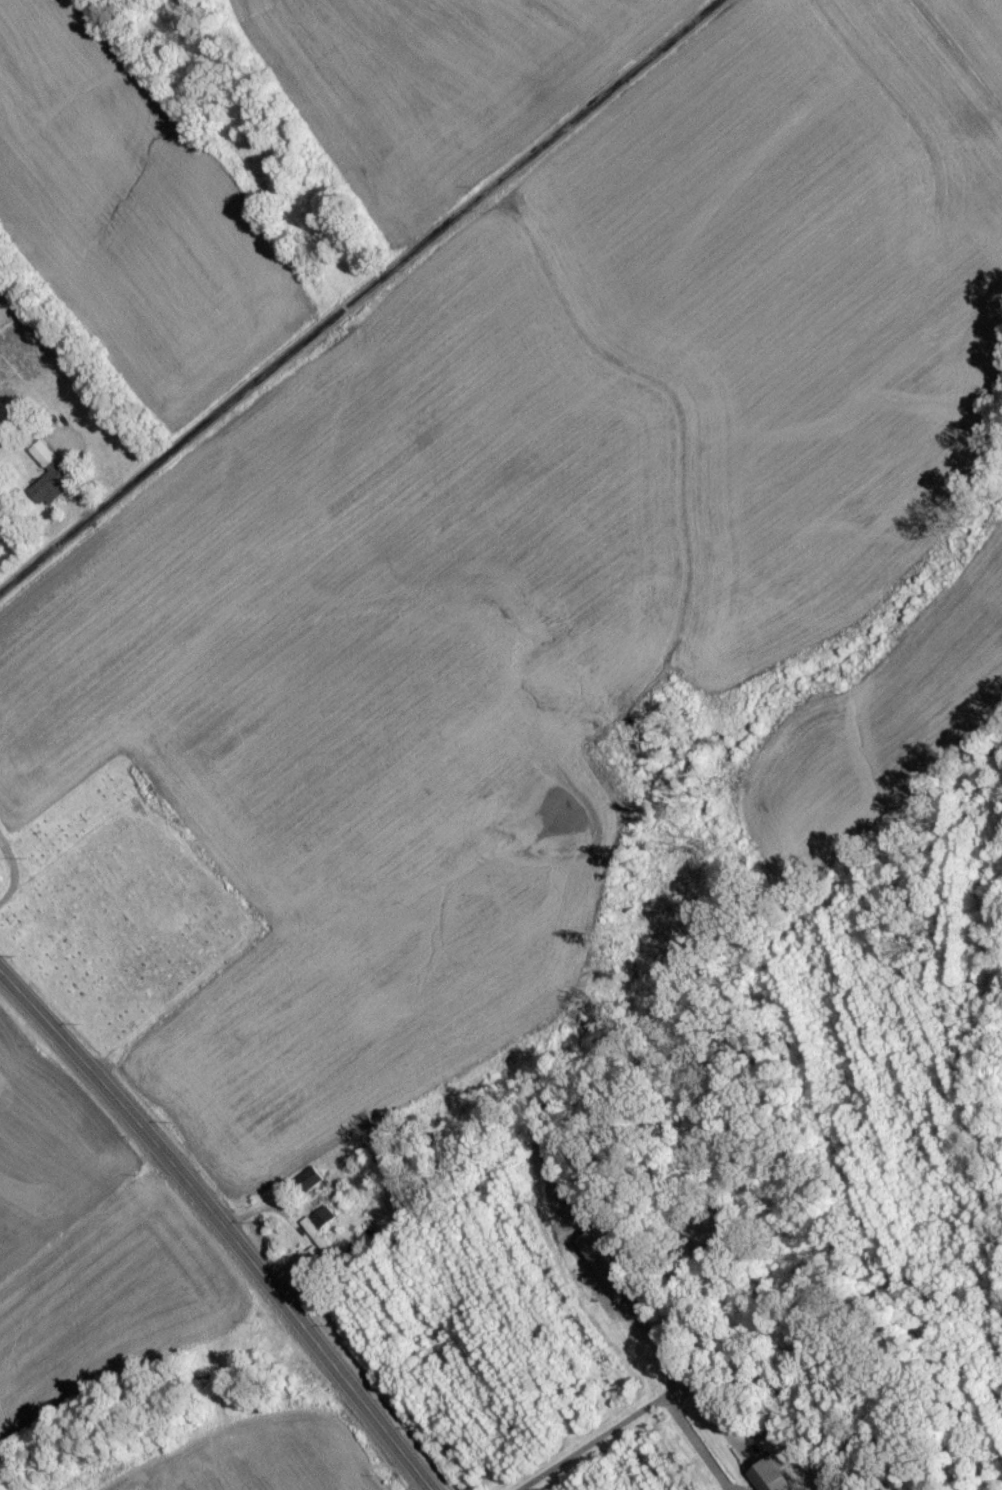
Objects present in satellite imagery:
road: (358, 295)
building: (49, 482)
road: (12, 871)
building: (309, 1185)
road: (217, 1229)
building: (319, 1246)
building: (610, 1276)
road: (647, 1337)
road: (634, 1414)
building: (773, 1488)

